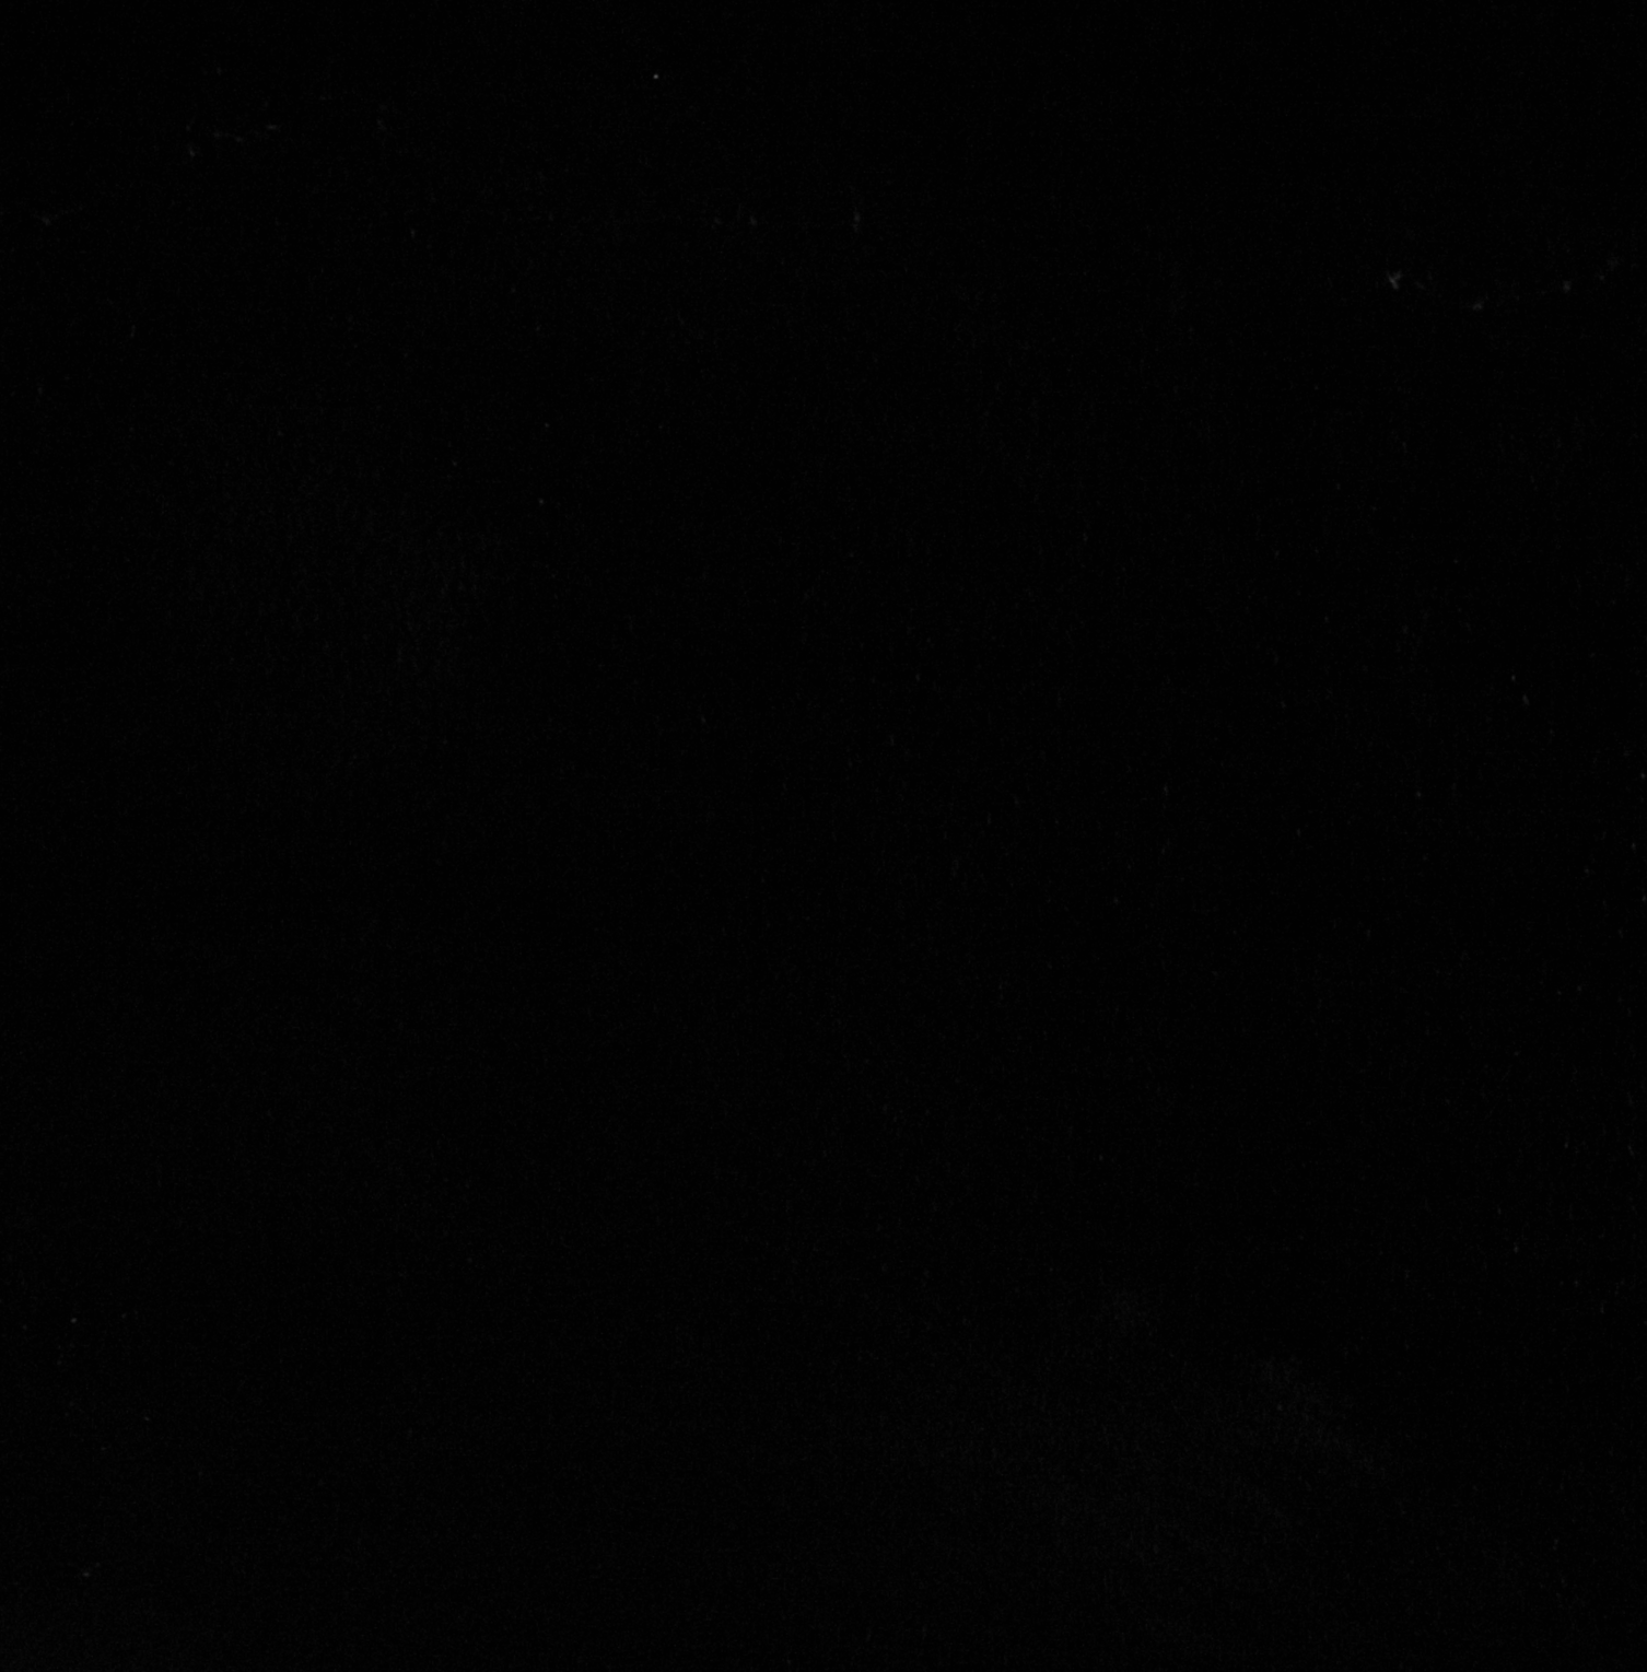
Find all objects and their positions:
river: (823, 459)

